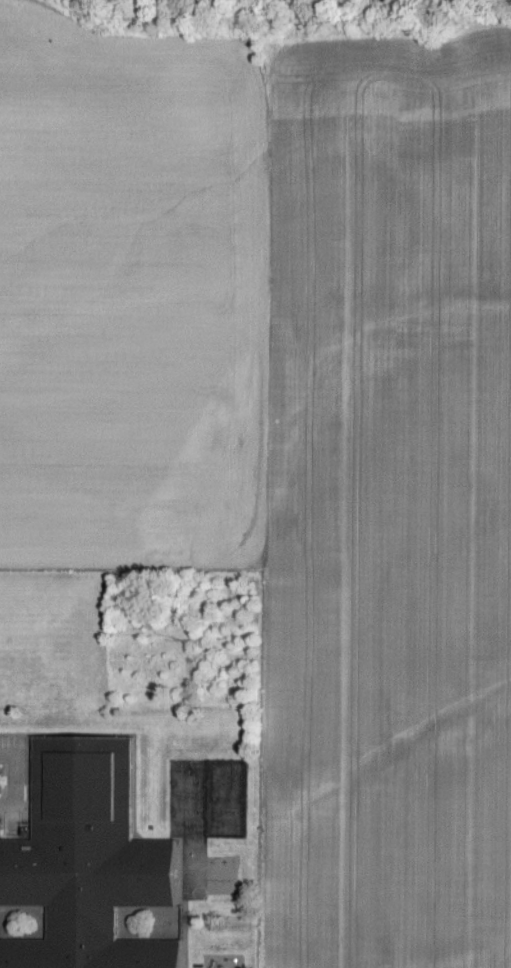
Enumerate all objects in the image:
road: (14, 762)
building: (83, 861)

